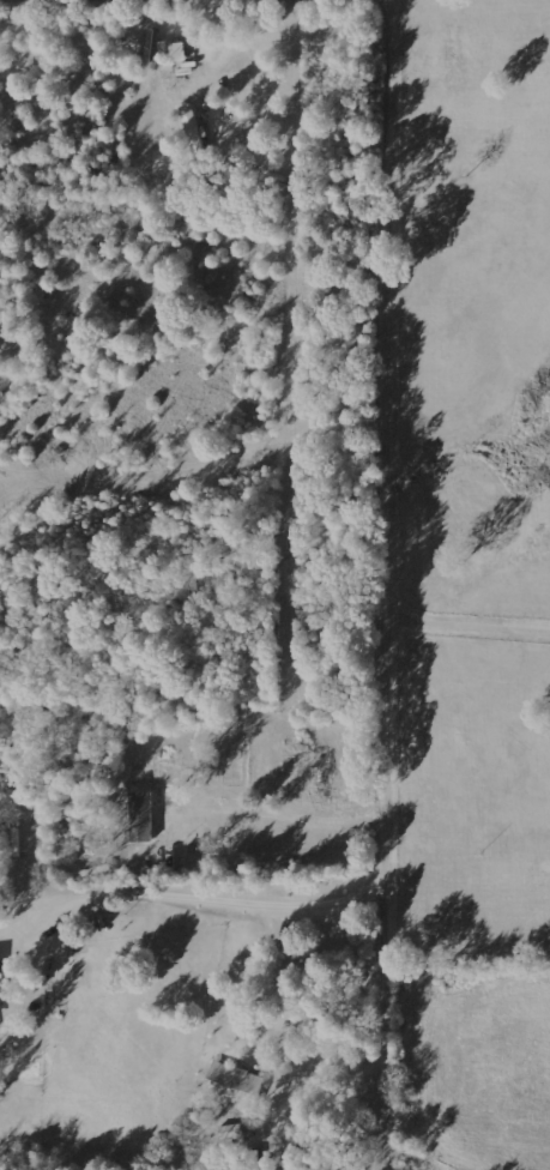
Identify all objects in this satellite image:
road: (58, 0)
road: (394, 584)
road: (212, 899)
building: (236, 1084)

